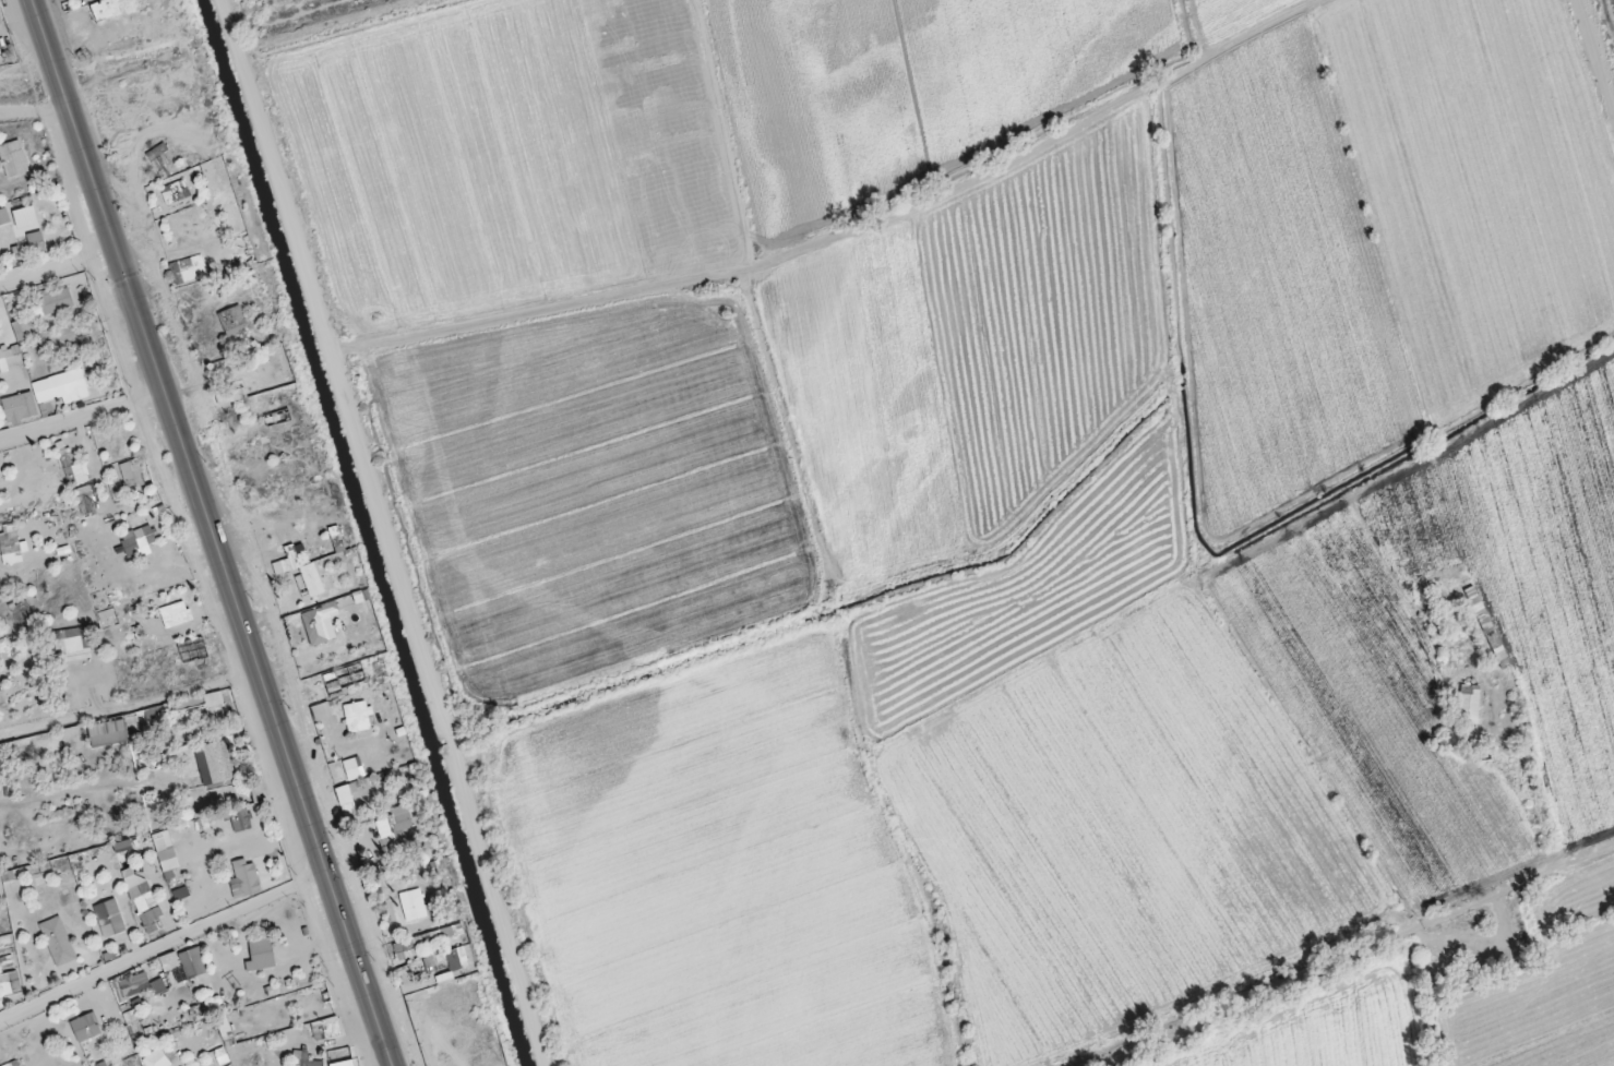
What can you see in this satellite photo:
building: (1468, 697)
road: (1392, 937)

